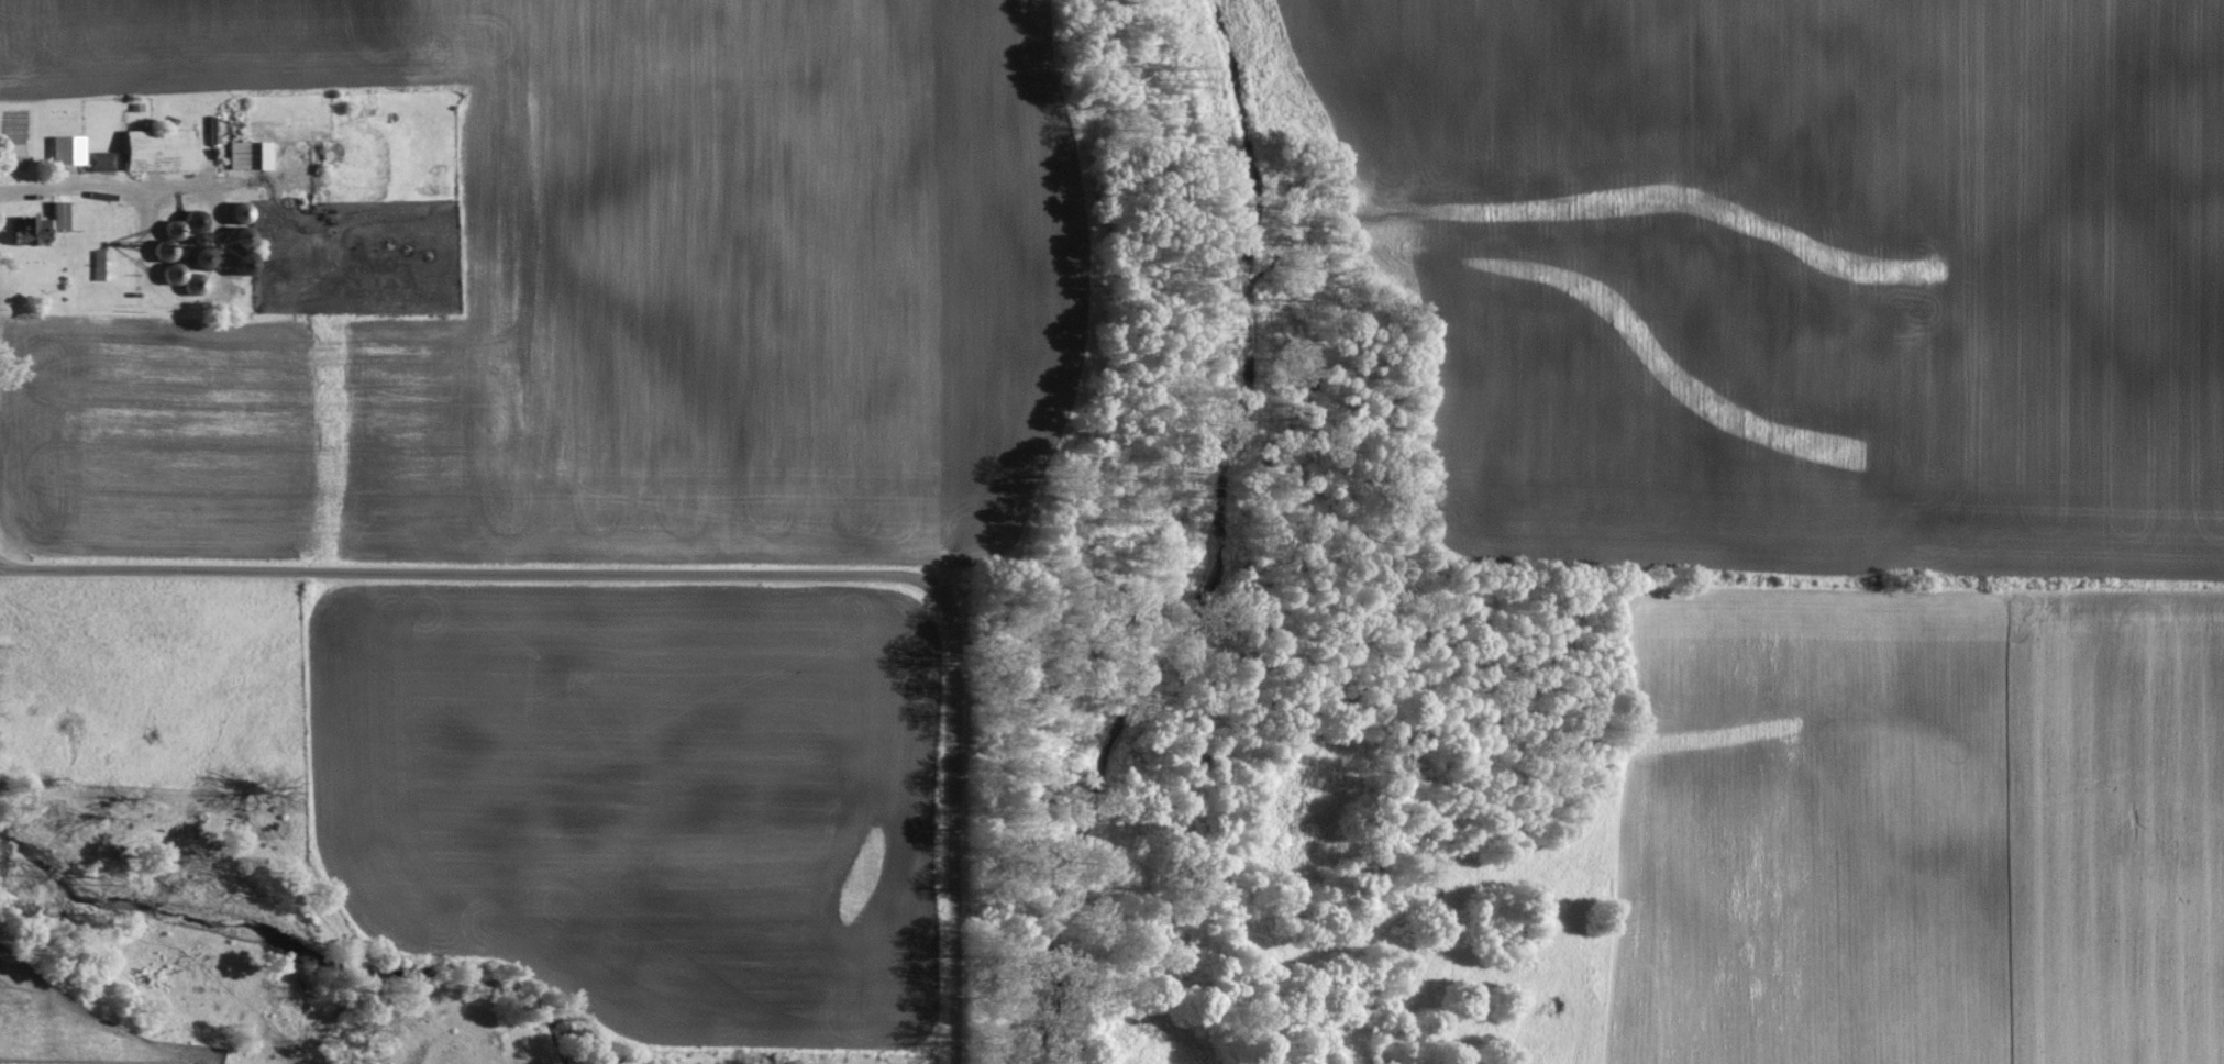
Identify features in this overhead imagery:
building: (161, 151)
building: (82, 154)
building: (252, 155)
road: (117, 192)
building: (48, 222)
road: (466, 570)
road: (954, 820)

